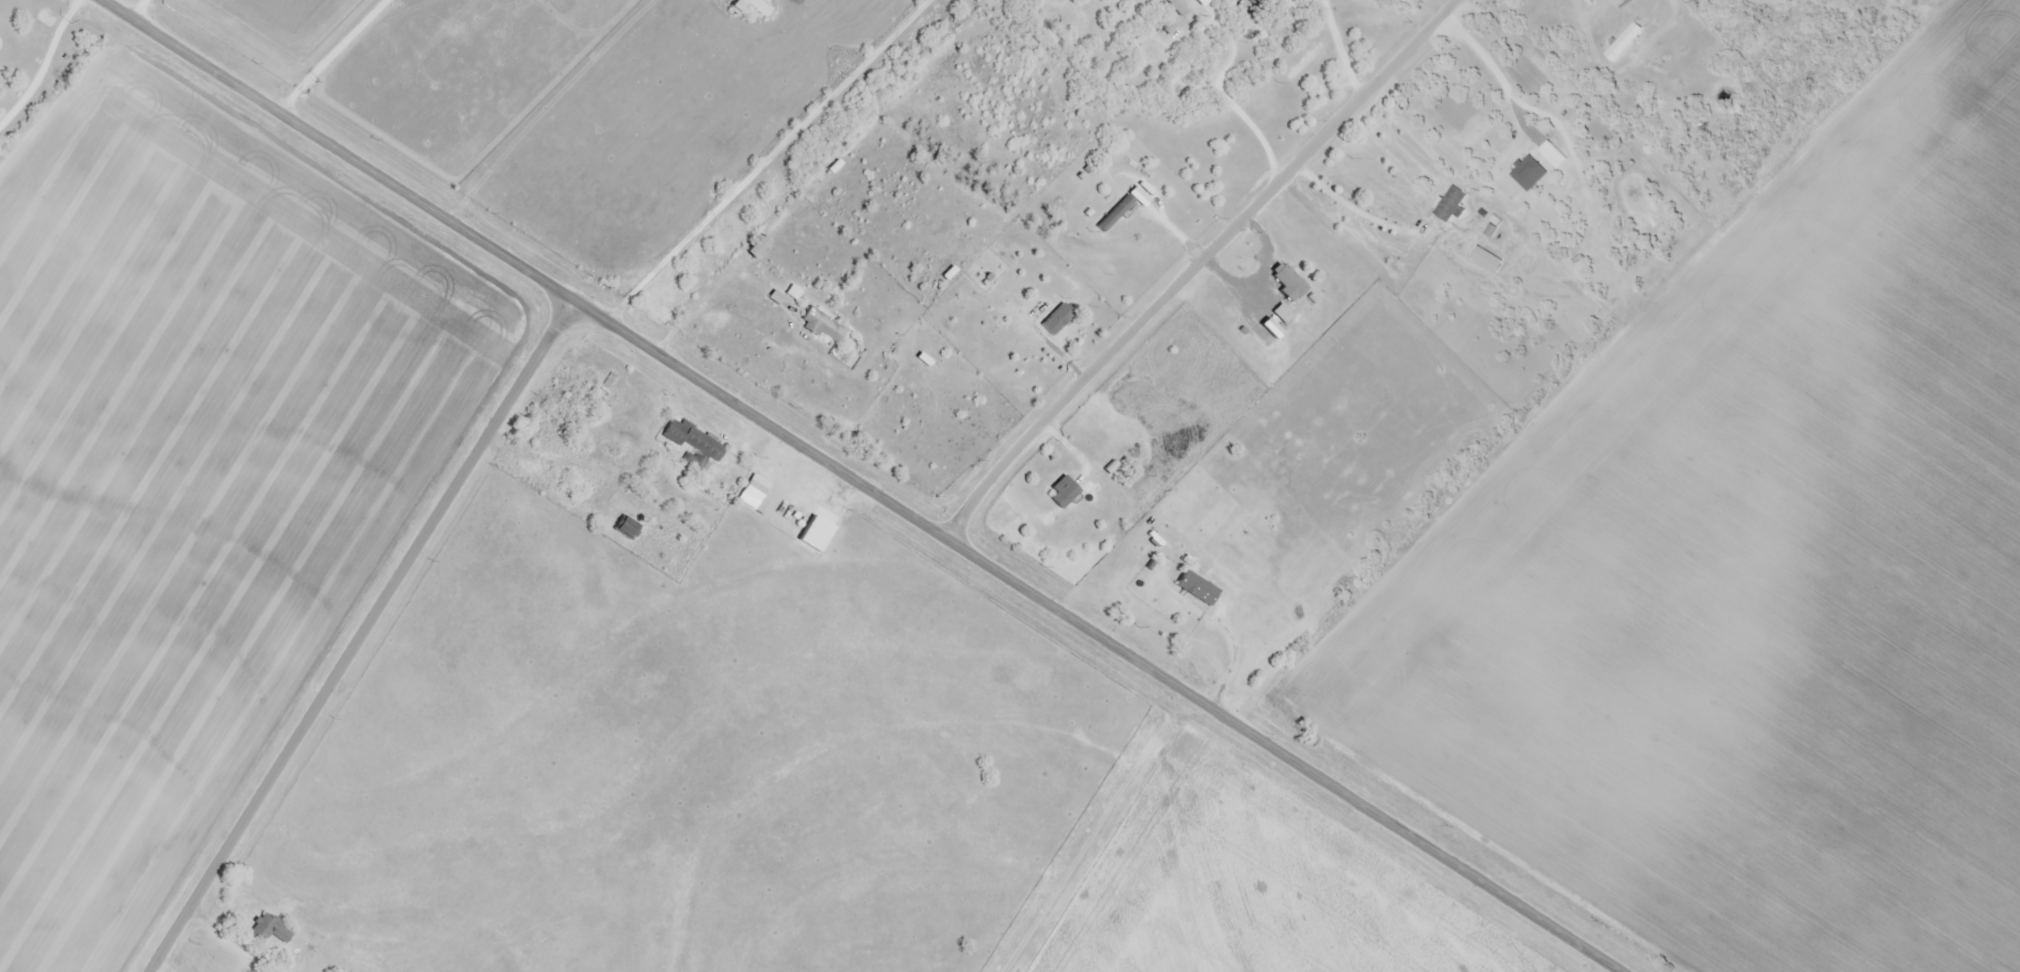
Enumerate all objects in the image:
building: (1710, 2)
building: (753, 6)
building: (1244, 6)
building: (1626, 42)
road: (799, 160)
road: (873, 181)
building: (1452, 204)
building: (1116, 213)
building: (758, 247)
building: (1488, 259)
road: (1197, 262)
building: (1290, 283)
building: (1284, 313)
building: (1058, 319)
building: (823, 327)
building: (695, 441)
road: (877, 485)
building: (755, 491)
building: (1065, 495)
building: (813, 539)
building: (1198, 589)
road: (368, 633)

